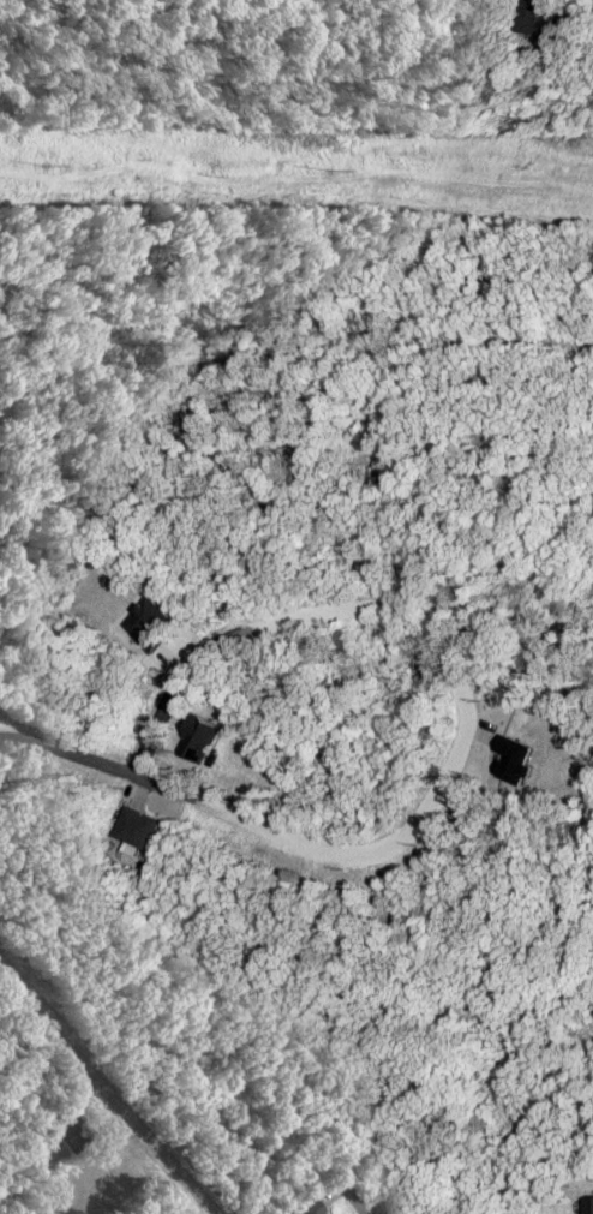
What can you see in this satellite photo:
road: (290, 342)
road: (303, 618)
building: (144, 622)
building: (200, 738)
road: (70, 749)
building: (138, 829)
road: (110, 1088)
road: (373, 1194)
building: (588, 1204)
building: (307, 1208)

